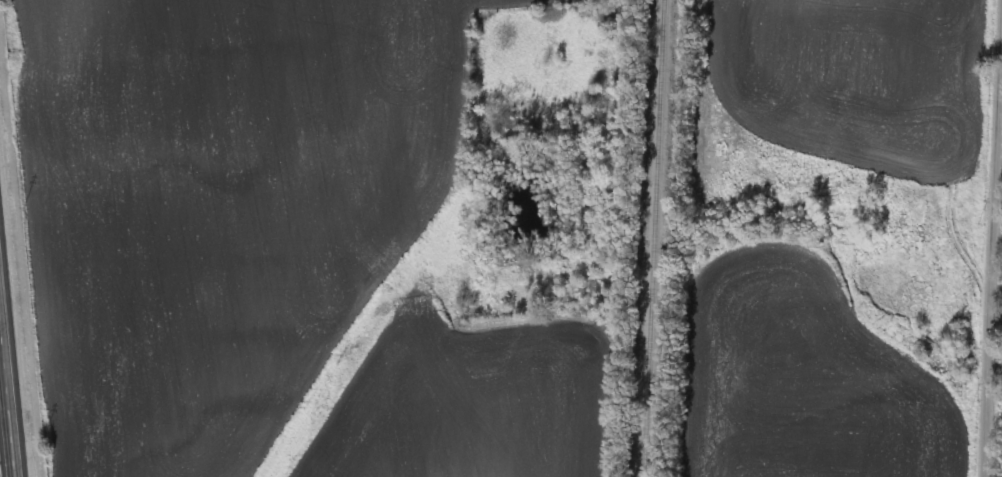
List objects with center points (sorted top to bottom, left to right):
railway: (649, 238)
road: (992, 239)
road: (11, 368)

